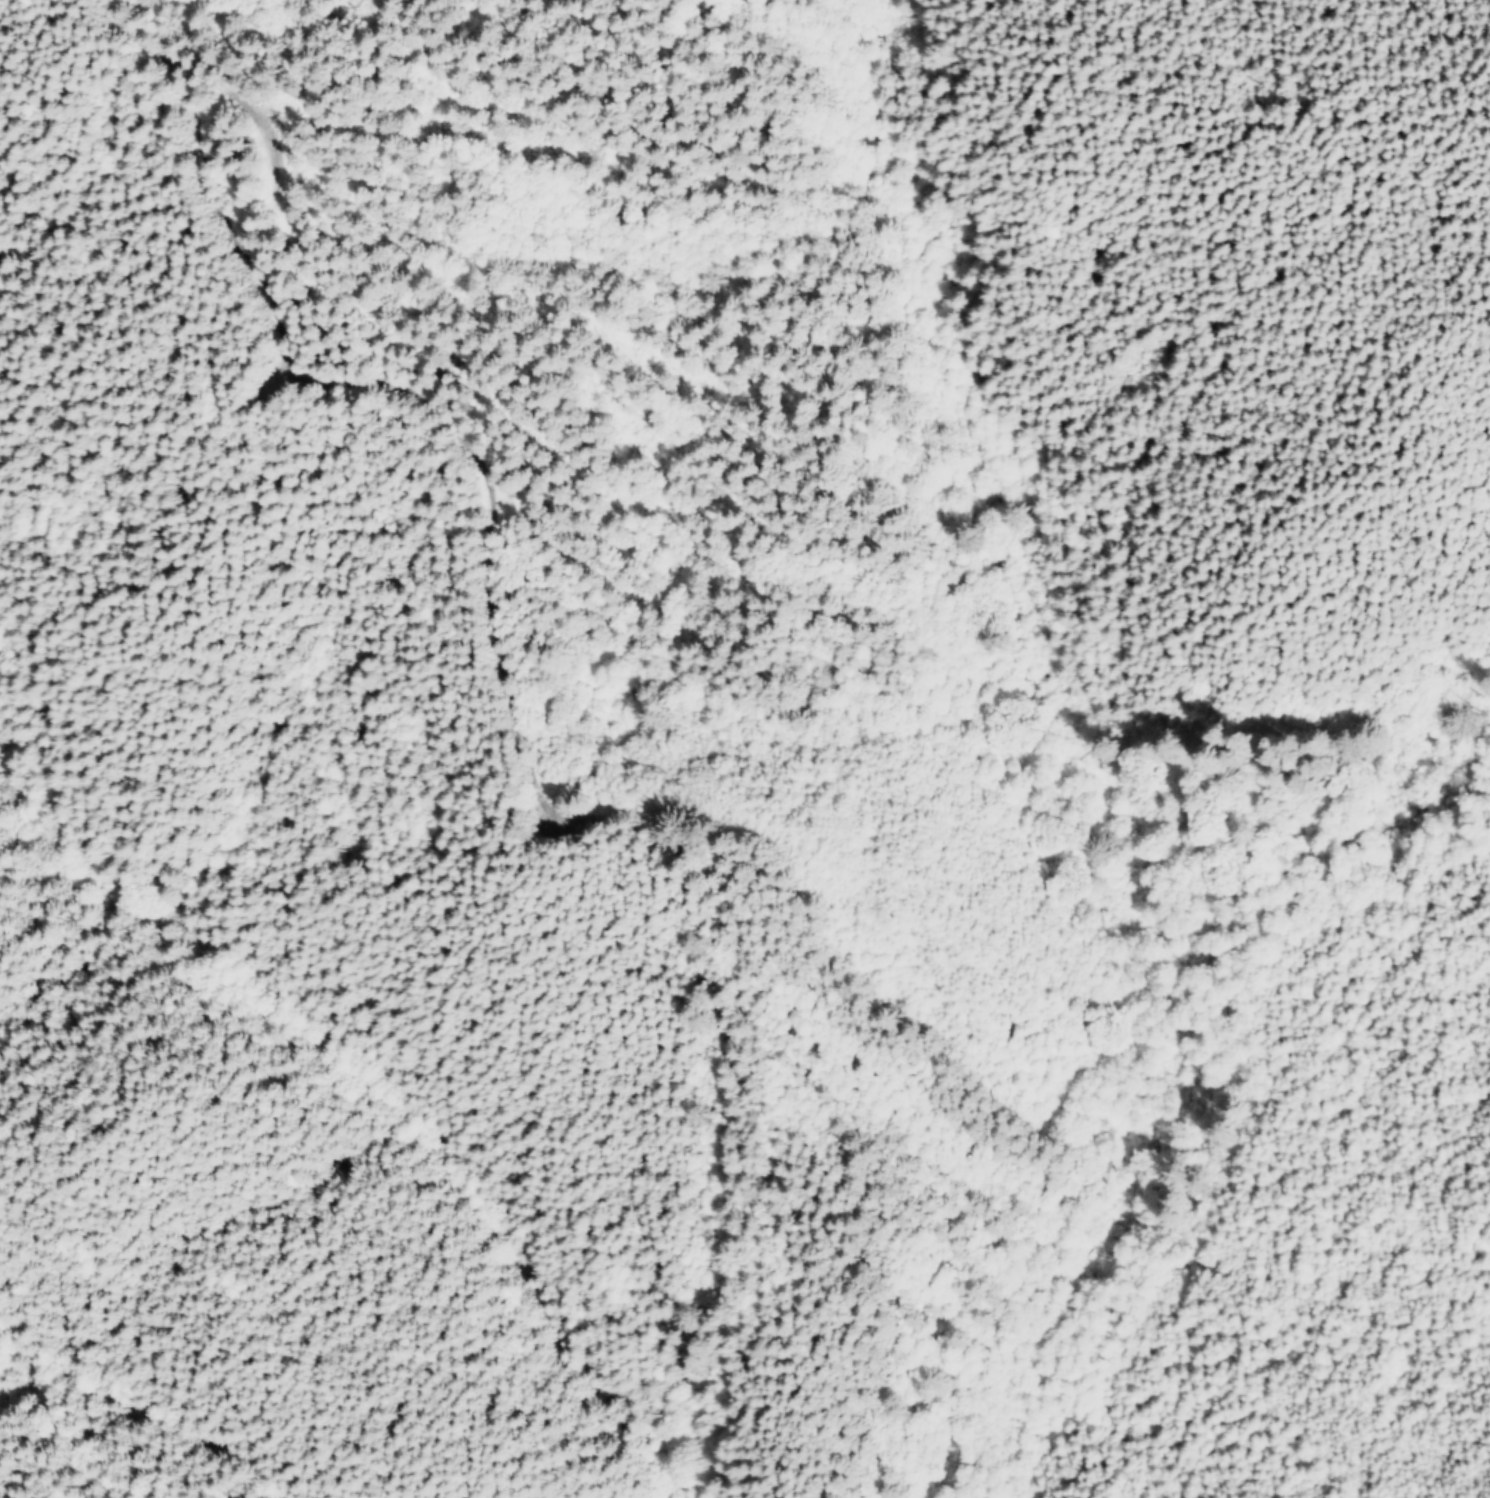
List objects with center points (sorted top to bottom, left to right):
road: (214, 51)

